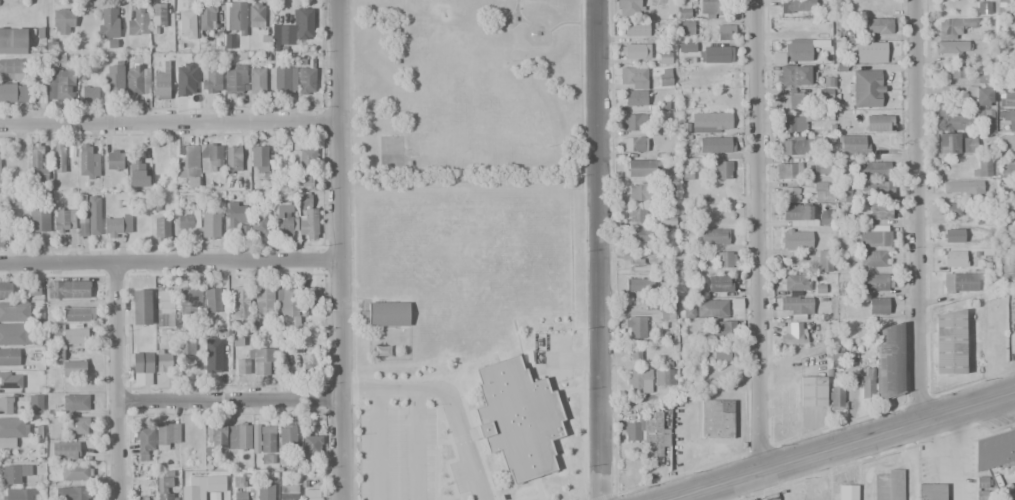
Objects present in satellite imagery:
building: (712, 6)
building: (797, 6)
building: (1005, 6)
building: (627, 8)
building: (983, 8)
building: (255, 14)
building: (157, 17)
building: (233, 17)
building: (206, 18)
building: (137, 21)
building: (63, 22)
building: (303, 22)
building: (109, 25)
building: (187, 25)
building: (877, 26)
building: (956, 27)
building: (687, 28)
building: (635, 29)
building: (725, 33)
building: (283, 35)
building: (13, 38)
building: (686, 47)
building: (953, 48)
building: (635, 51)
building: (797, 52)
building: (871, 52)
building: (715, 55)
building: (14, 69)
building: (1014, 70)
building: (955, 73)
building: (792, 74)
building: (633, 77)
building: (664, 77)
building: (113, 78)
building: (234, 78)
building: (256, 79)
building: (284, 79)
building: (185, 80)
building: (719, 80)
building: (137, 81)
building: (306, 81)
building: (161, 82)
building: (210, 82)
building: (60, 86)
building: (867, 88)
building: (13, 92)
building: (89, 93)
building: (979, 95)
building: (1006, 97)
building: (633, 98)
building: (794, 101)
building: (966, 120)
building: (1011, 120)
building: (635, 122)
building: (710, 122)
building: (879, 122)
building: (789, 123)
road: (170, 124)
building: (951, 143)
building: (1007, 143)
building: (715, 144)
building: (803, 144)
building: (852, 144)
building: (633, 145)
building: (159, 157)
building: (210, 157)
building: (58, 158)
building: (113, 159)
building: (233, 159)
building: (187, 161)
building: (87, 162)
building: (36, 164)
building: (262, 164)
building: (983, 167)
building: (306, 168)
building: (641, 168)
building: (820, 168)
building: (873, 169)
building: (721, 170)
building: (1006, 170)
building: (788, 171)
building: (137, 174)
building: (960, 186)
building: (876, 188)
building: (845, 191)
building: (640, 192)
building: (820, 192)
building: (790, 195)
building: (950, 209)
road: (917, 211)
building: (879, 212)
building: (795, 213)
building: (94, 214)
building: (636, 214)
building: (234, 215)
building: (187, 219)
building: (64, 220)
building: (284, 220)
building: (40, 221)
building: (307, 224)
building: (1, 225)
building: (82, 225)
building: (209, 225)
building: (259, 225)
building: (117, 226)
building: (161, 229)
building: (876, 235)
building: (953, 235)
building: (714, 236)
road: (760, 236)
building: (642, 239)
building: (796, 240)
road: (344, 249)
road: (601, 250)
road: (172, 256)
building: (954, 258)
building: (723, 259)
building: (872, 259)
building: (823, 261)
building: (646, 265)
building: (1006, 267)
building: (797, 282)
building: (875, 282)
building: (959, 282)
building: (720, 284)
building: (641, 288)
building: (819, 288)
building: (67, 289)
building: (5, 291)
building: (311, 297)
building: (212, 298)
building: (263, 299)
building: (190, 300)
building: (240, 301)
building: (286, 301)
building: (735, 303)
building: (796, 306)
building: (877, 306)
building: (139, 307)
building: (163, 307)
building: (711, 308)
building: (14, 312)
building: (666, 312)
building: (687, 313)
building: (78, 314)
building: (386, 314)
building: (634, 326)
building: (723, 328)
building: (15, 333)
building: (71, 333)
building: (792, 334)
building: (948, 343)
building: (187, 346)
building: (634, 353)
building: (718, 354)
building: (9, 356)
building: (834, 360)
building: (261, 361)
building: (888, 361)
building: (142, 362)
building: (163, 362)
building: (211, 363)
building: (310, 365)
building: (74, 368)
building: (662, 376)
road: (120, 378)
building: (639, 380)
building: (10, 381)
building: (865, 387)
building: (812, 391)
road: (232, 394)
building: (836, 397)
road: (447, 398)
building: (75, 402)
building: (35, 404)
building: (6, 406)
building: (517, 418)
building: (716, 419)
building: (76, 425)
building: (13, 427)
building: (167, 433)
building: (648, 433)
building: (215, 435)
building: (239, 437)
building: (143, 441)
building: (286, 442)
building: (266, 444)
road: (377, 445)
road: (416, 445)
building: (312, 446)
road: (843, 447)
building: (994, 449)
building: (64, 450)
building: (10, 453)
building: (75, 472)
building: (12, 473)
building: (237, 482)
building: (982, 482)
building: (888, 484)
building: (165, 486)
building: (202, 486)
building: (930, 491)
building: (264, 492)
building: (289, 492)
building: (848, 492)
building: (73, 493)
building: (17, 494)
building: (310, 494)
building: (240, 495)
building: (144, 497)

